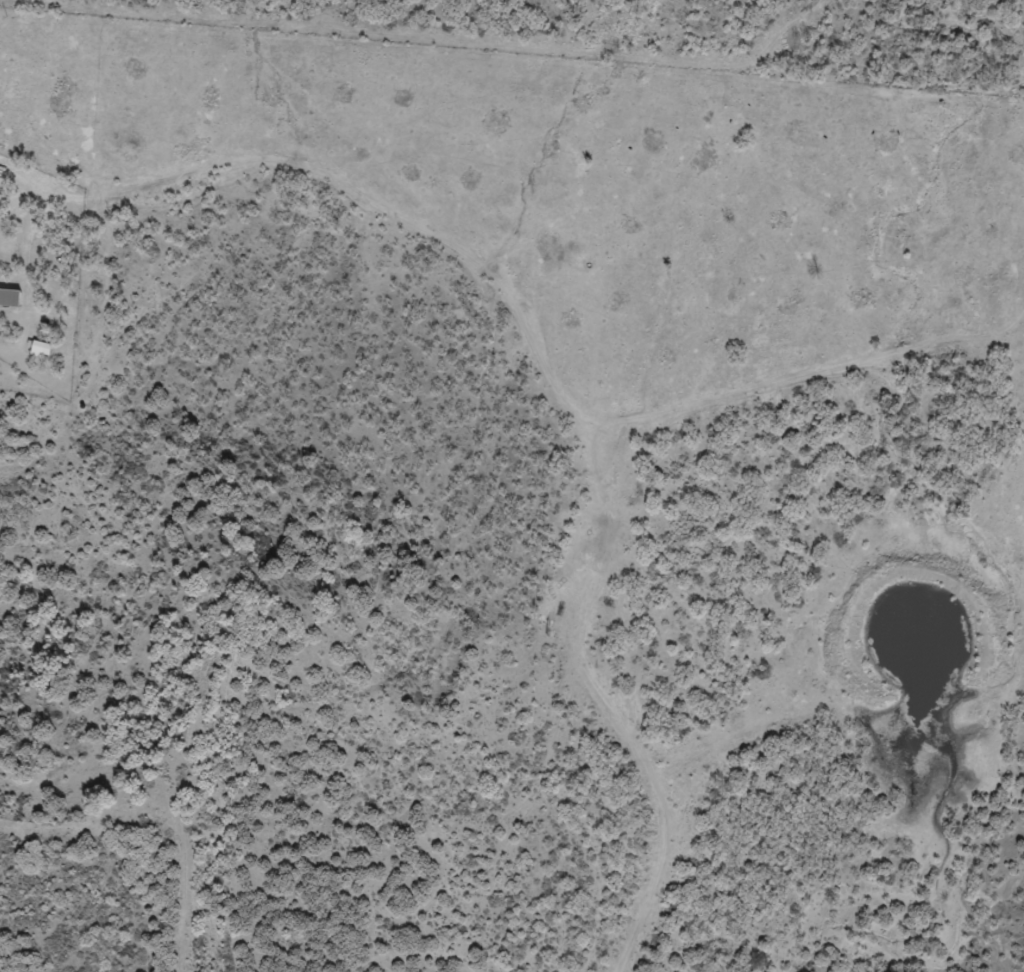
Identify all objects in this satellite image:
road: (332, 209)
building: (10, 305)
building: (41, 357)
road: (621, 465)

